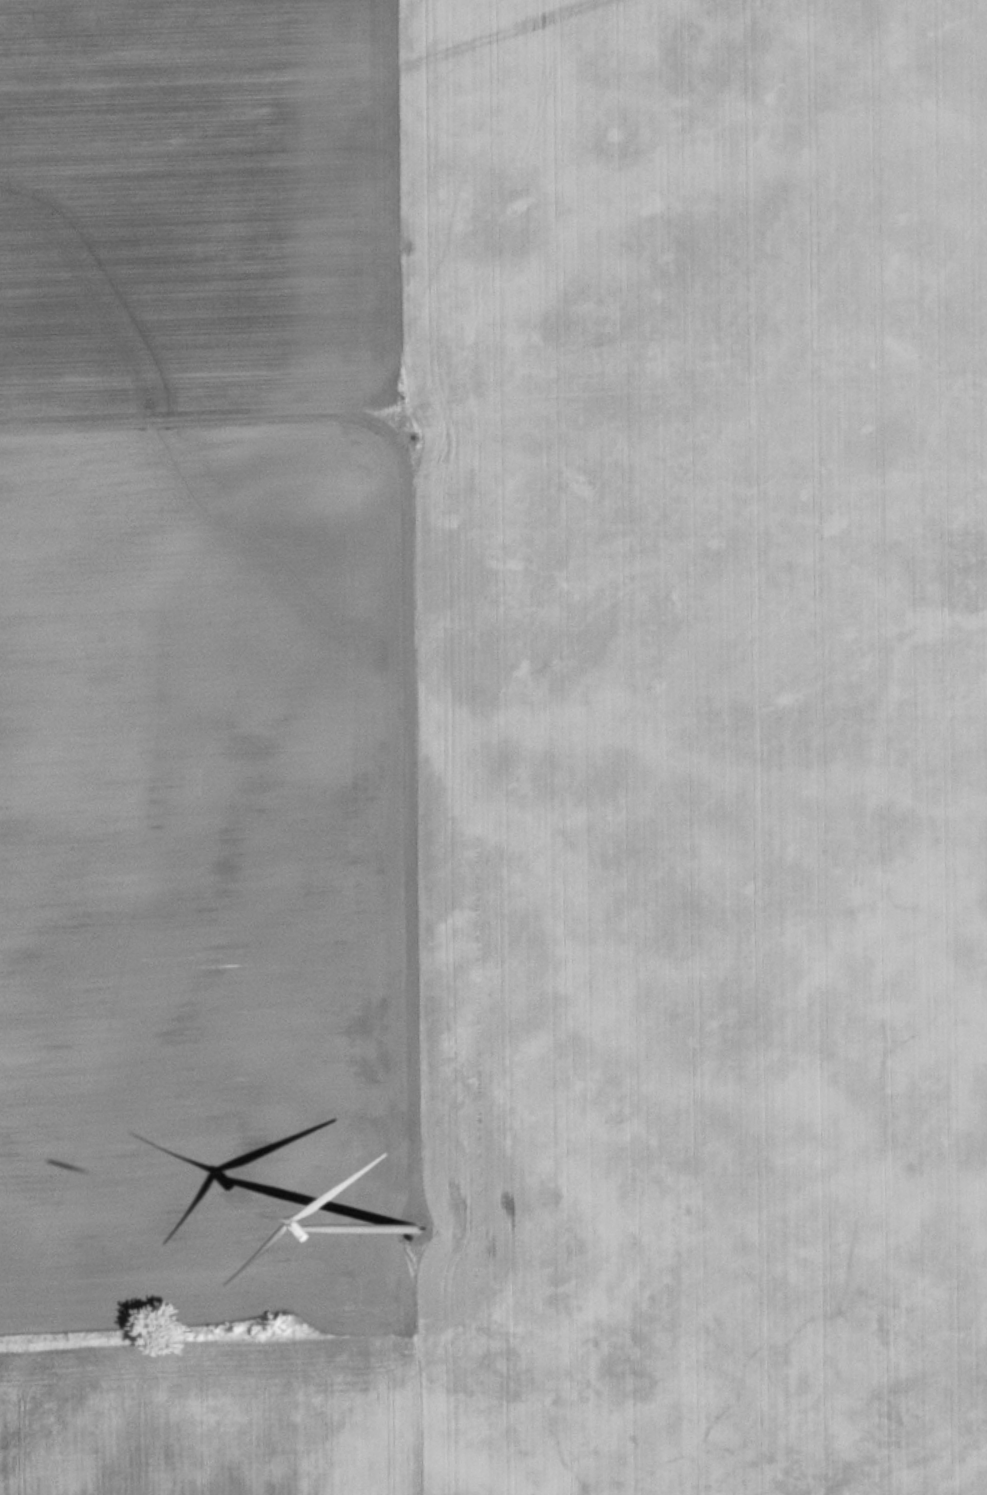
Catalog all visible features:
wind turbine: (417, 1231)

